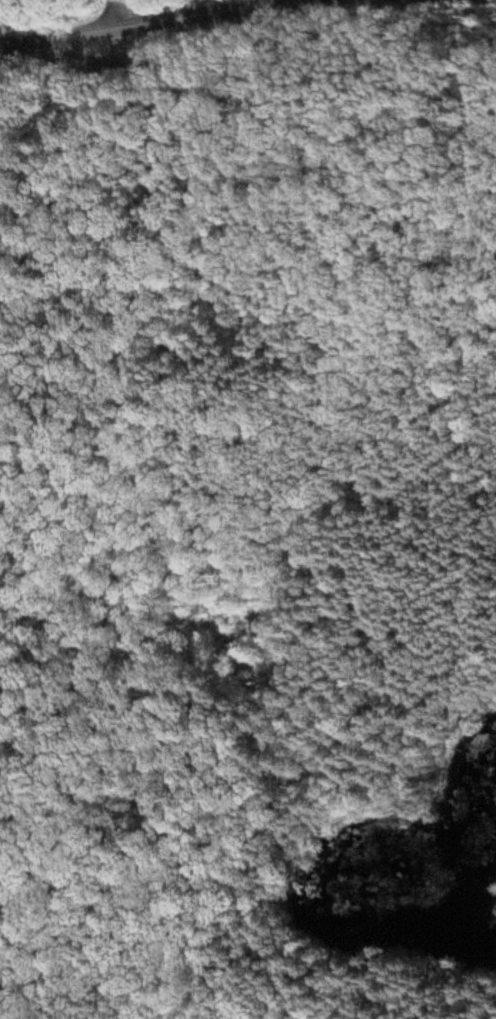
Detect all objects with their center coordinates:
road: (125, 12)
road: (165, 20)

